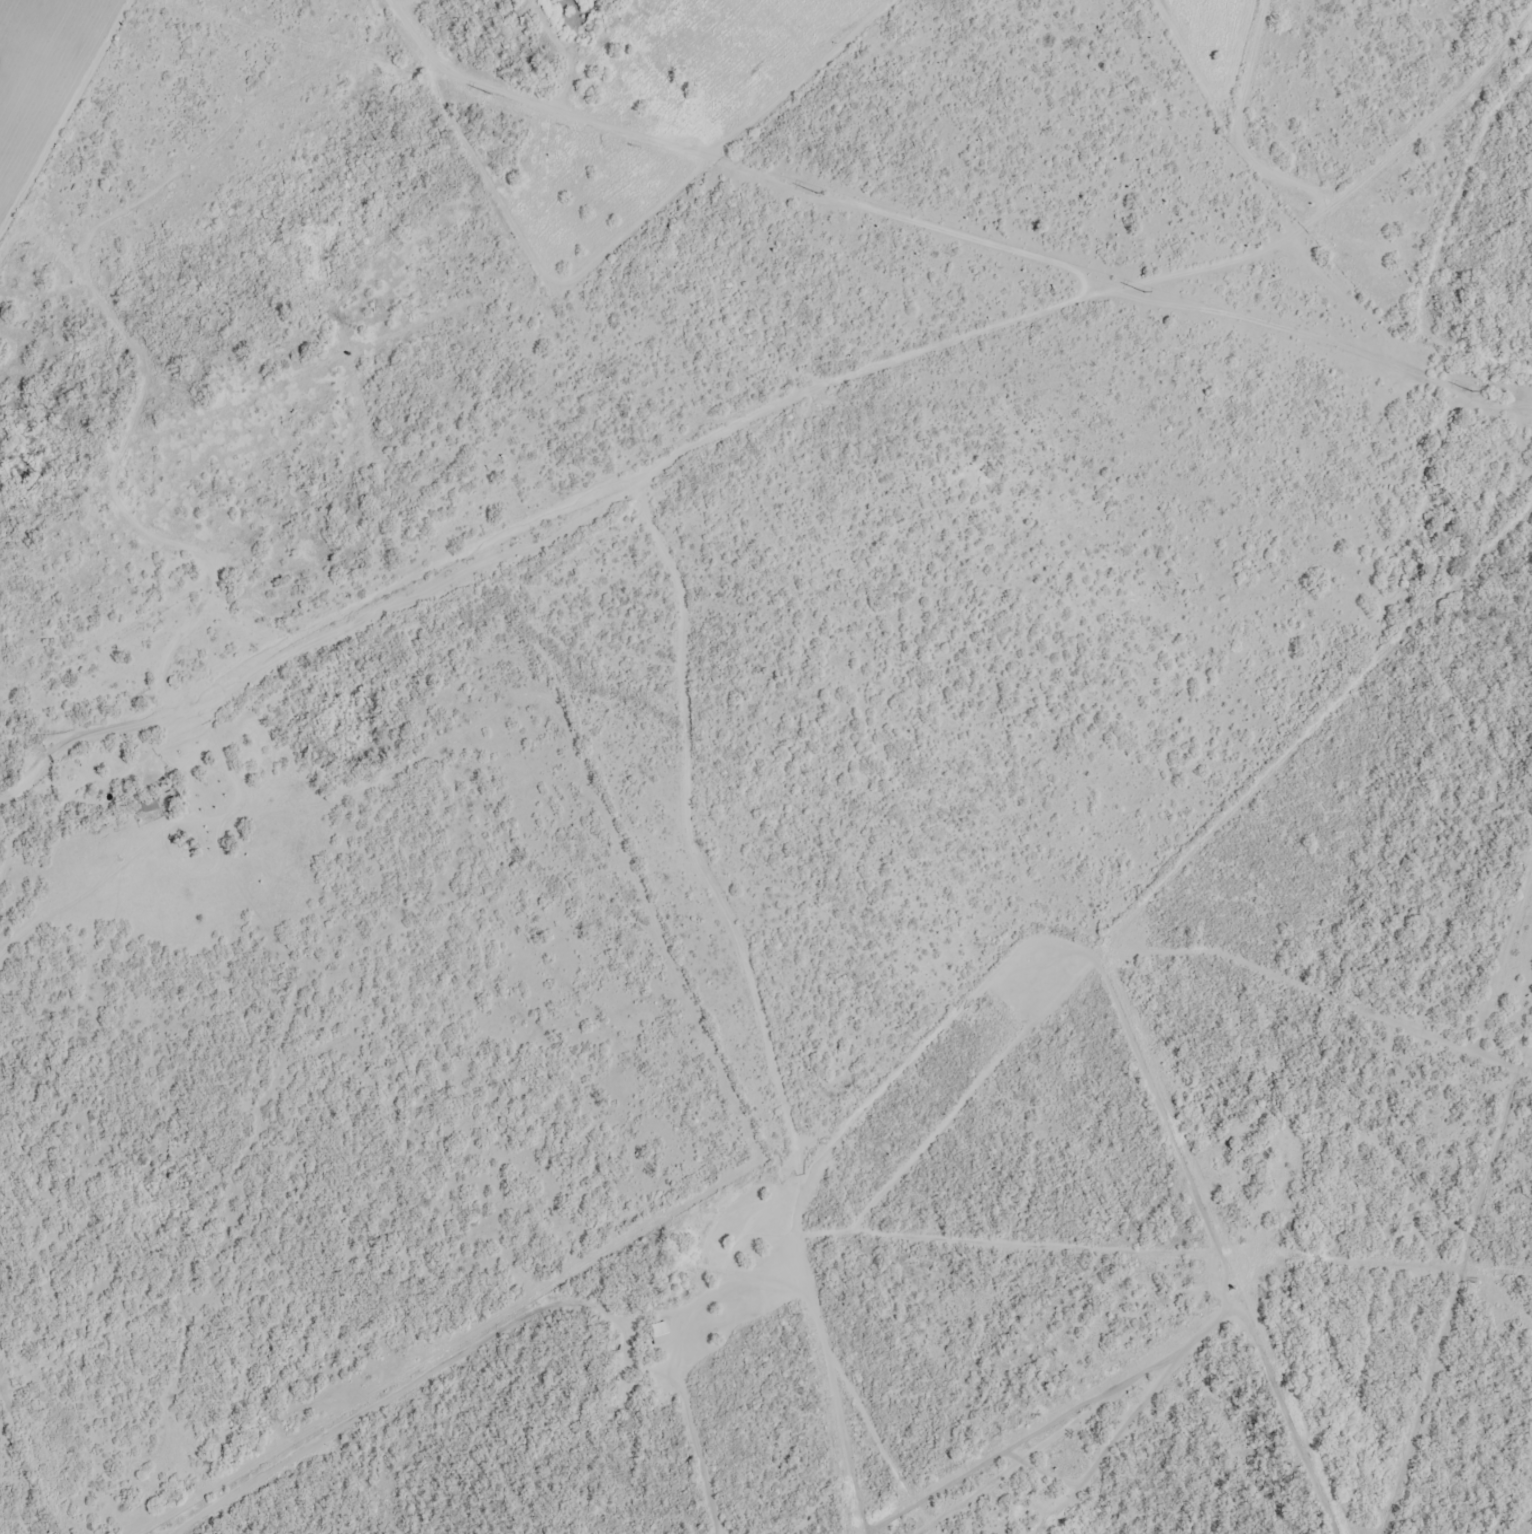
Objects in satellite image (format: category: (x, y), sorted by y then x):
power tower: (489, 91)
power tower: (818, 190)
power tower: (1144, 290)
power tower: (1473, 388)
road: (783, 445)
road: (751, 866)

